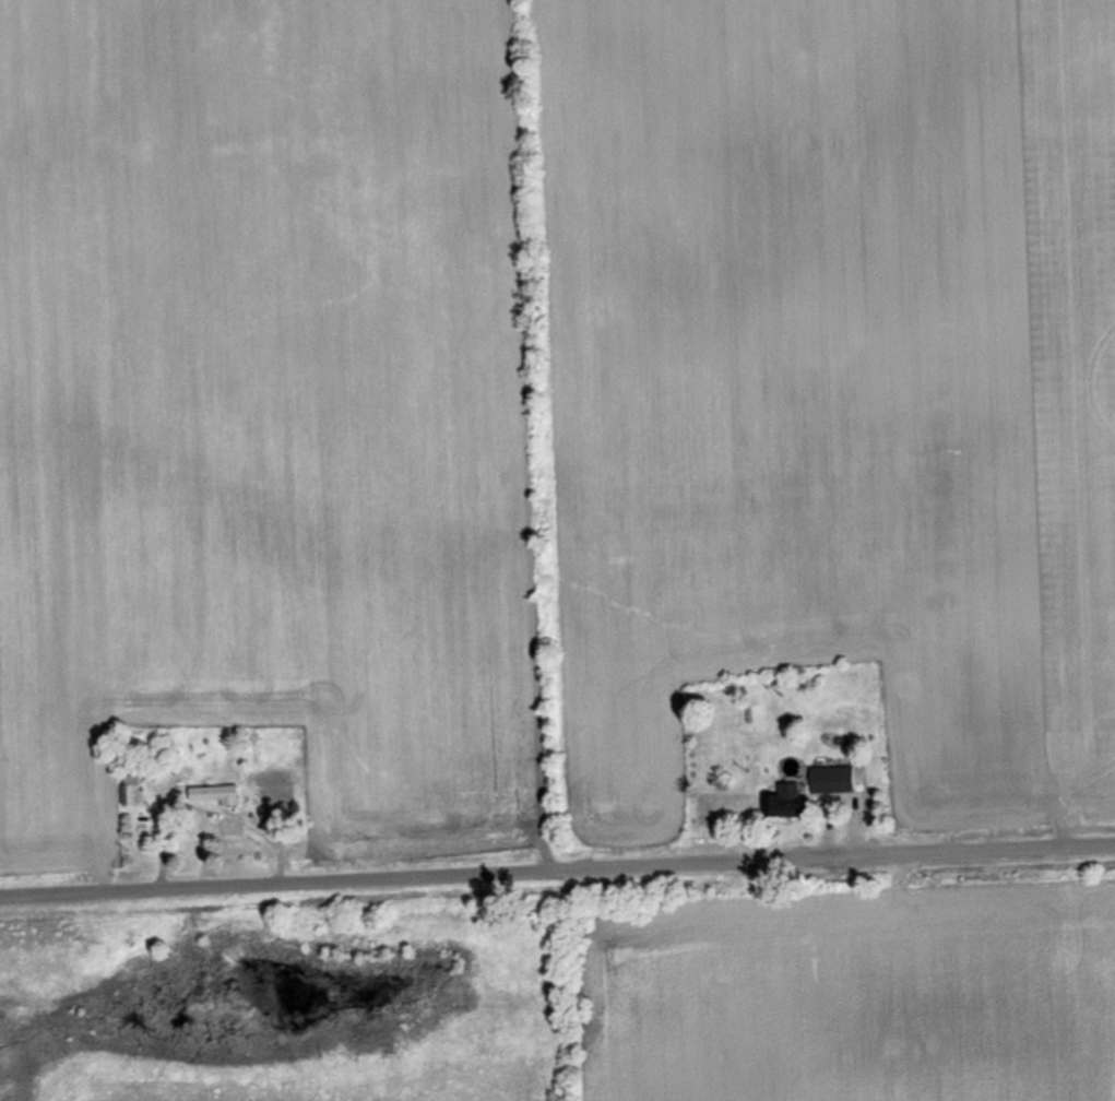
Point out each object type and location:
building: (831, 779)
building: (124, 789)
building: (207, 795)
building: (784, 802)
road: (557, 871)

